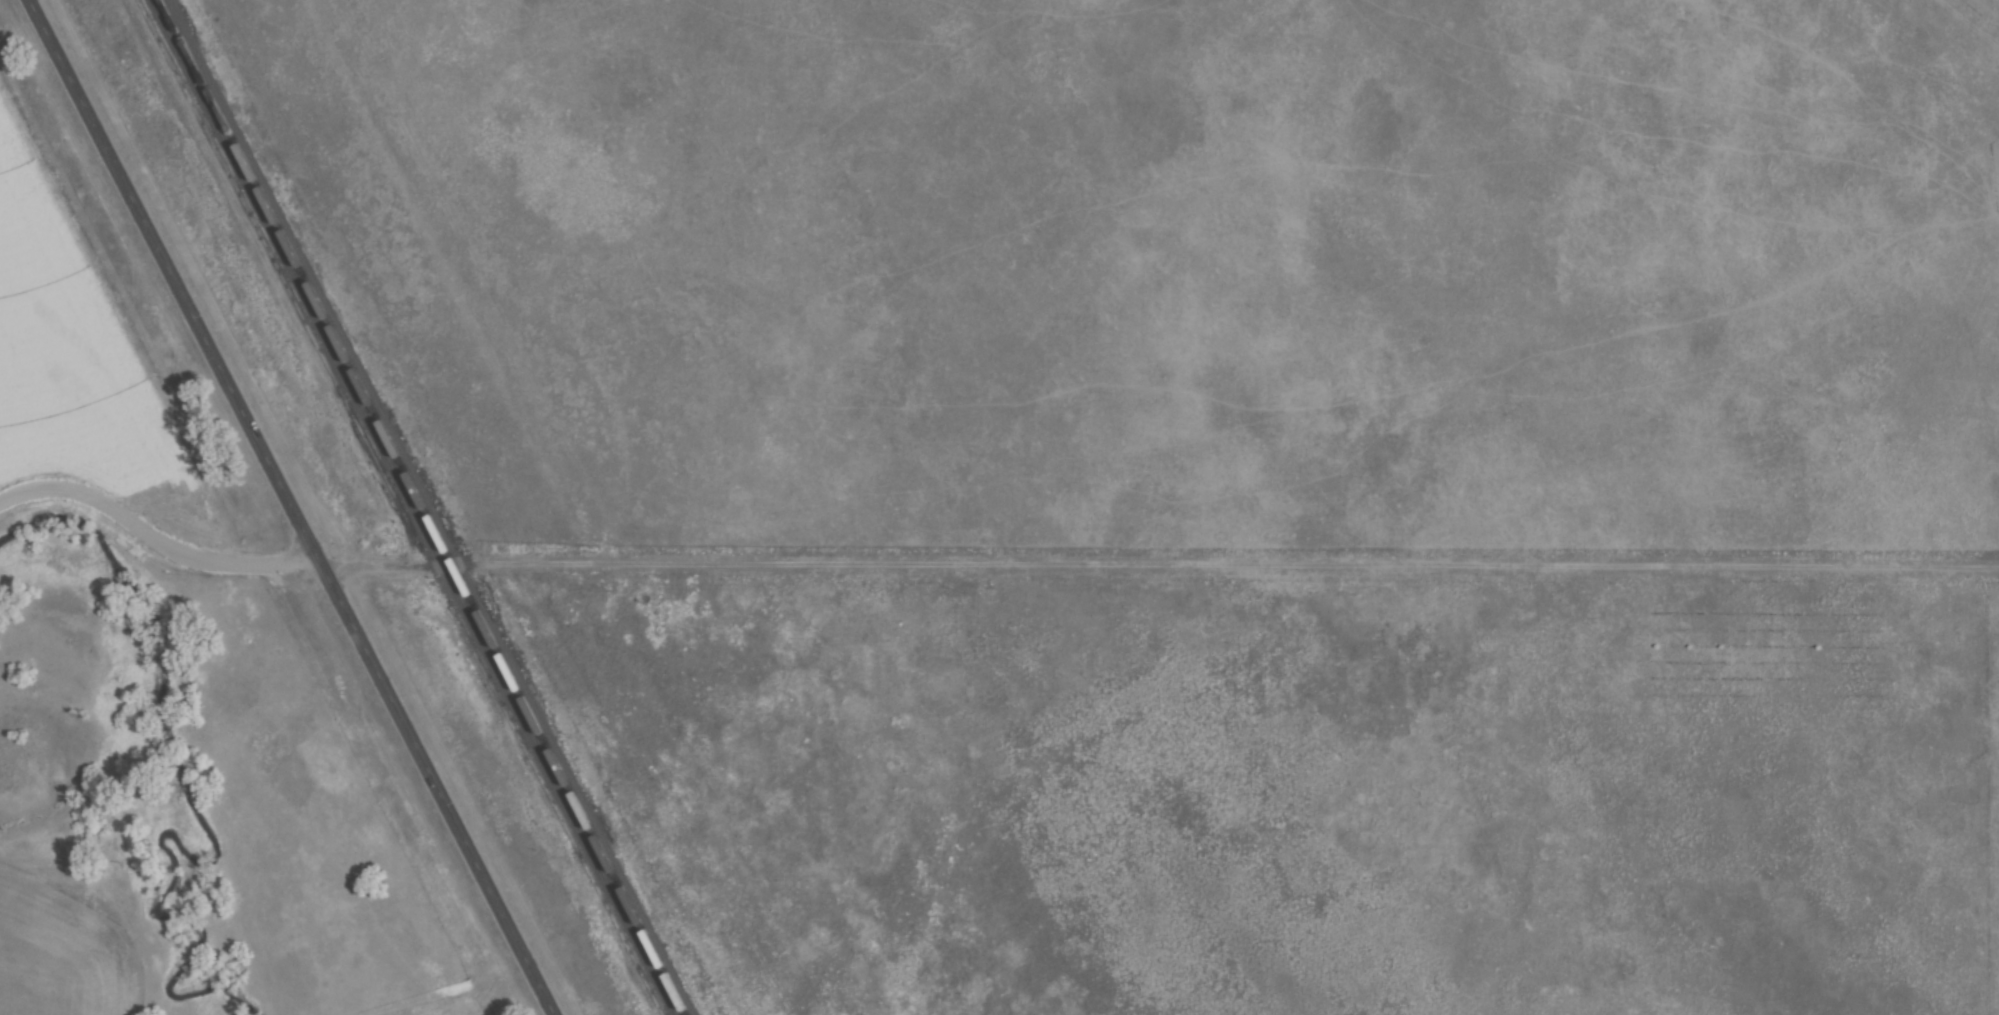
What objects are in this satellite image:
crop: (82, 350)
road: (292, 507)
railway: (415, 507)
railway: (426, 507)
road: (988, 562)
crop: (51, 957)
crop: (452, 1008)

